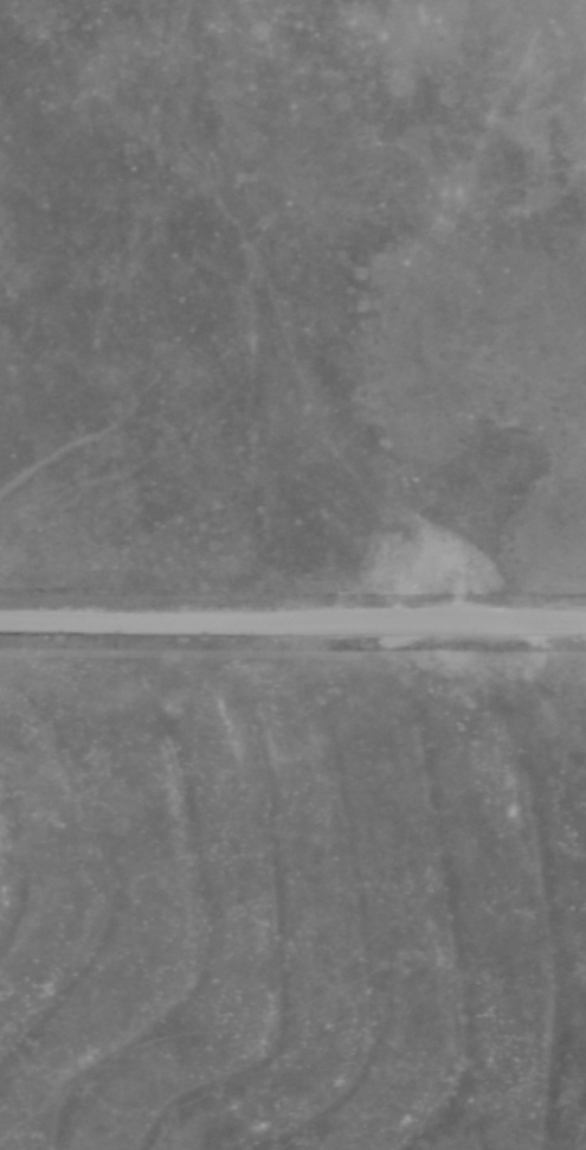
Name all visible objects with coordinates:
road: (292, 618)

